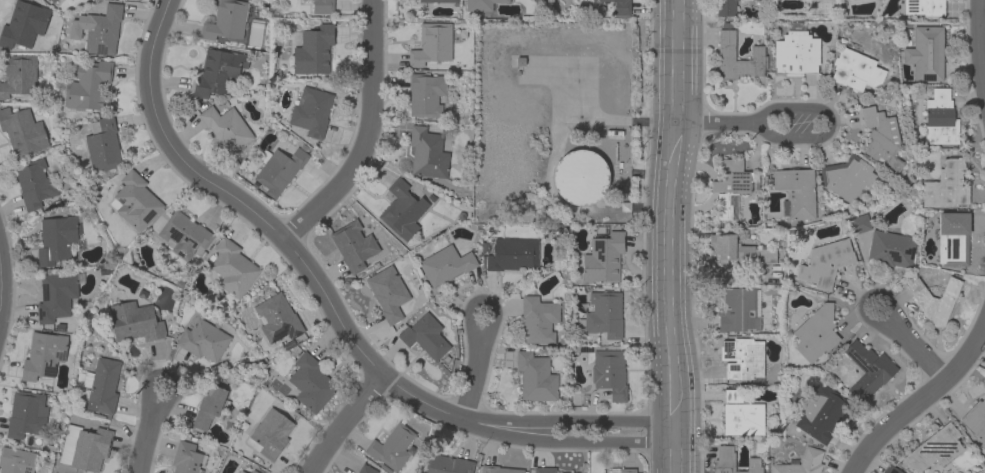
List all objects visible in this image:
building: (47, 0)
building: (840, 0)
building: (52, 1)
building: (70, 1)
building: (437, 1)
building: (481, 4)
building: (322, 6)
building: (620, 7)
building: (725, 7)
building: (924, 7)
building: (225, 20)
building: (23, 24)
building: (102, 30)
road: (981, 43)
building: (431, 44)
building: (312, 48)
building: (726, 50)
building: (796, 52)
building: (925, 53)
building: (855, 70)
building: (218, 71)
building: (18, 75)
building: (87, 85)
building: (426, 94)
building: (311, 111)
building: (940, 118)
road: (720, 123)
road: (831, 123)
building: (226, 127)
building: (22, 131)
road: (360, 132)
building: (881, 138)
building: (102, 144)
building: (427, 153)
building: (279, 170)
building: (579, 176)
storage tank: (579, 176)
building: (847, 177)
building: (34, 183)
building: (946, 185)
building: (730, 186)
building: (796, 192)
building: (134, 201)
building: (402, 210)
building: (859, 223)
building: (183, 234)
road: (676, 236)
building: (57, 238)
building: (953, 238)
building: (353, 245)
building: (890, 249)
building: (738, 250)
building: (511, 255)
building: (603, 257)
building: (825, 263)
building: (445, 265)
building: (232, 267)
road: (3, 269)
building: (388, 293)
building: (55, 296)
building: (934, 299)
building: (738, 310)
road: (331, 311)
building: (602, 314)
building: (277, 318)
building: (538, 319)
building: (135, 321)
building: (815, 333)
building: (425, 336)
building: (203, 340)
road: (913, 345)
building: (43, 355)
building: (744, 359)
road: (478, 369)
building: (868, 369)
building: (609, 373)
building: (535, 377)
building: (310, 383)
building: (101, 386)
building: (732, 395)
road: (921, 402)
building: (209, 406)
building: (821, 413)
building: (26, 414)
building: (743, 418)
building: (975, 420)
road: (344, 427)
road: (147, 432)
building: (271, 432)
building: (391, 447)
building: (933, 448)
building: (90, 449)
building: (187, 458)
building: (16, 460)
building: (733, 461)
building: (801, 463)
building: (446, 464)
building: (366, 469)
building: (498, 469)
building: (890, 469)
building: (548, 470)
building: (627, 470)
building: (240, 471)
building: (253, 471)

